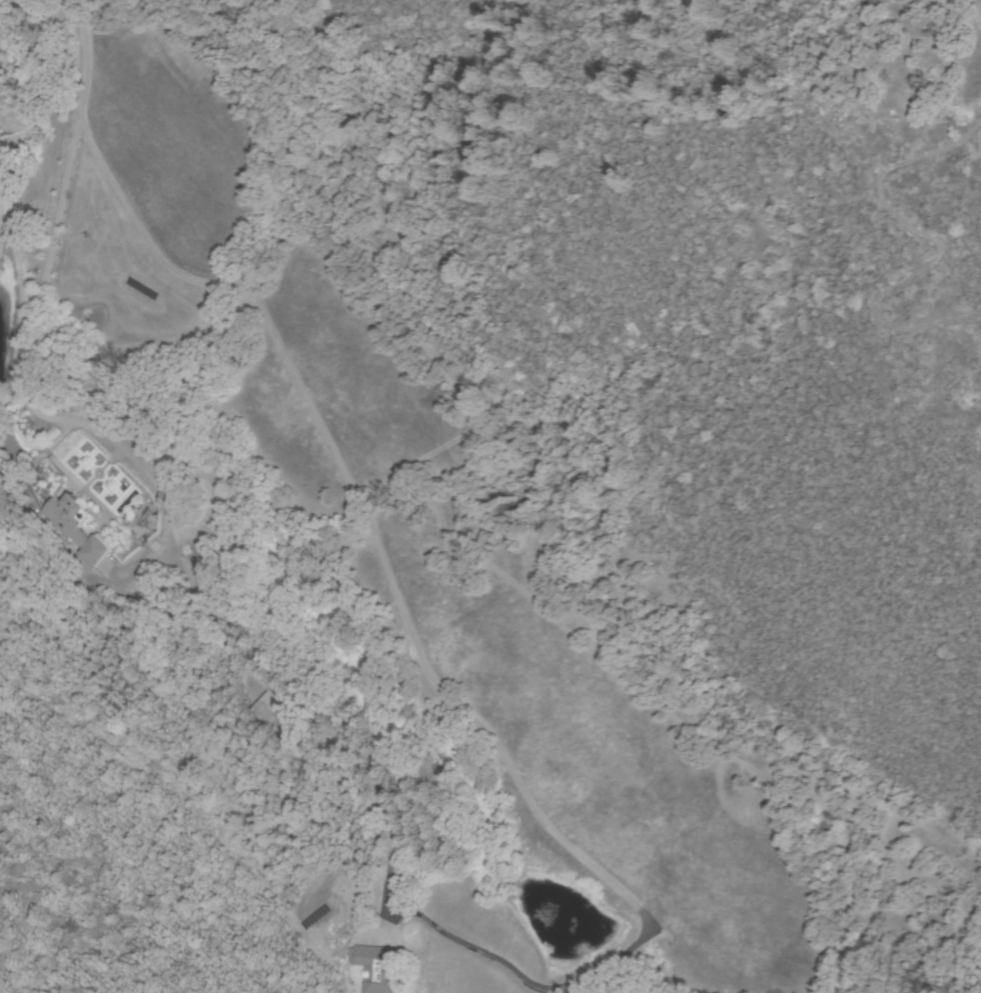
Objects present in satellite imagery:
road: (90, 493)
building: (74, 528)
building: (263, 711)
building: (357, 960)
building: (382, 988)

